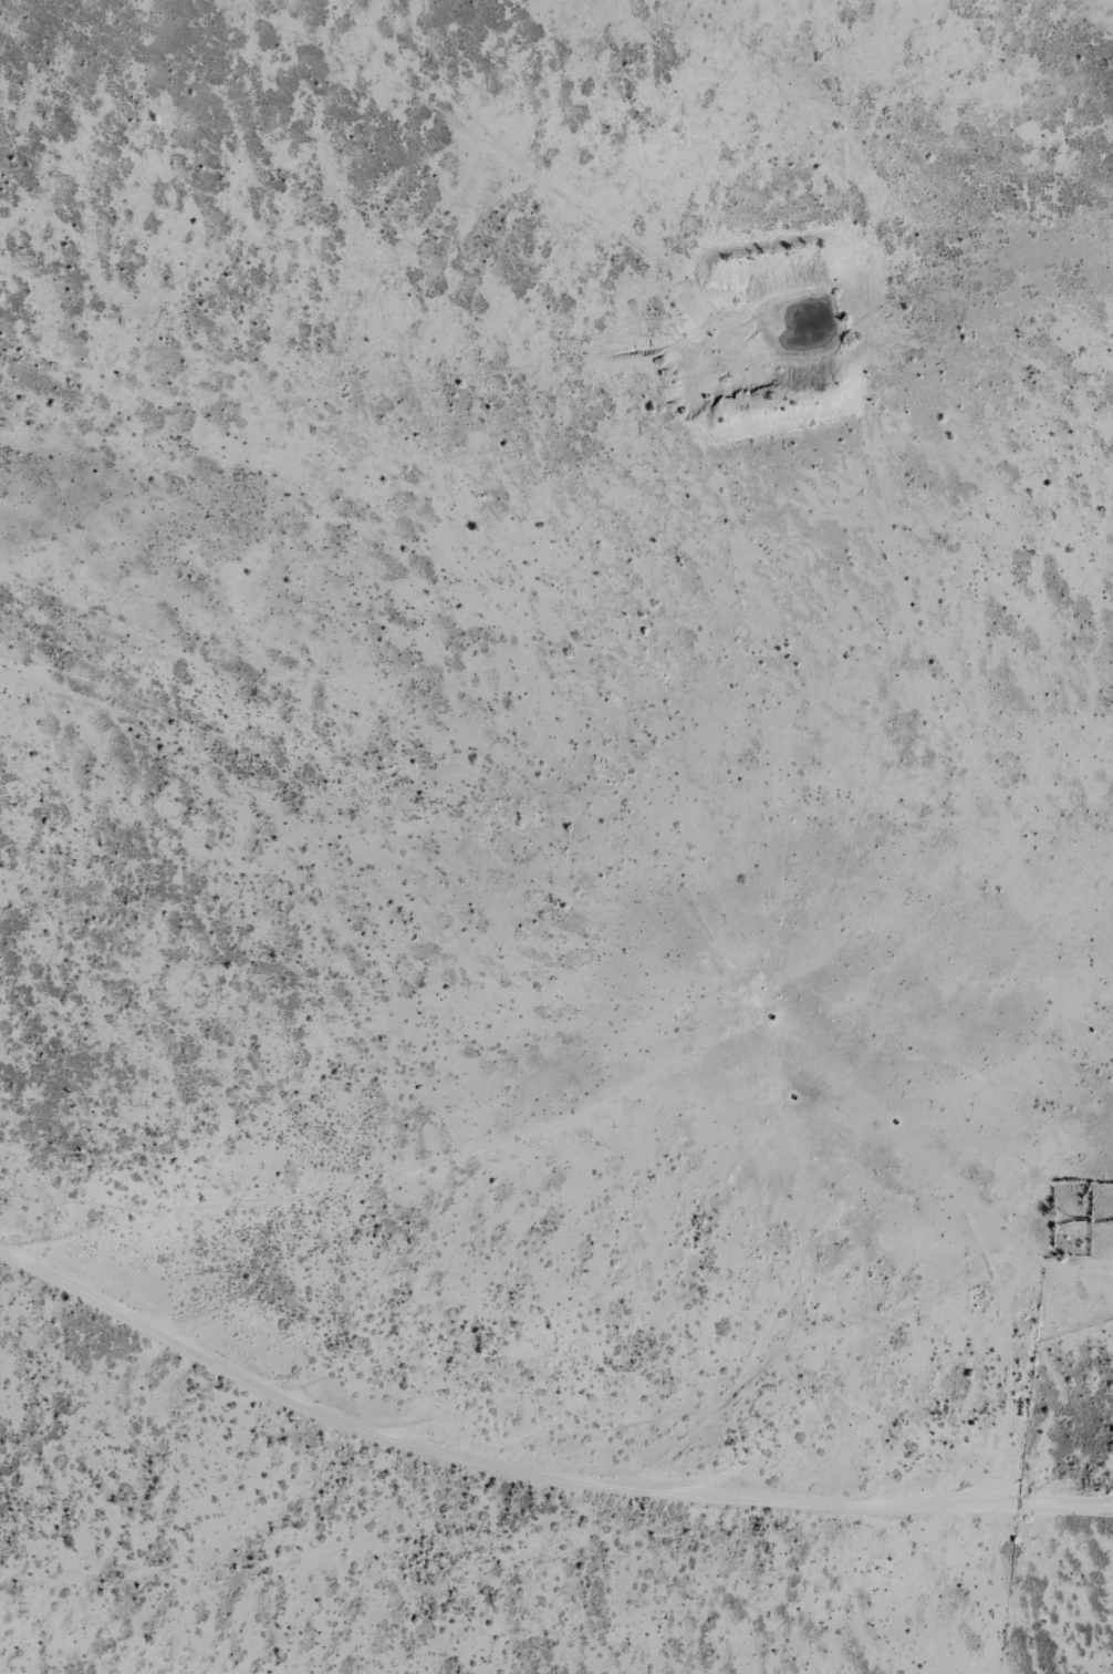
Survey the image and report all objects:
road: (535, 1465)

